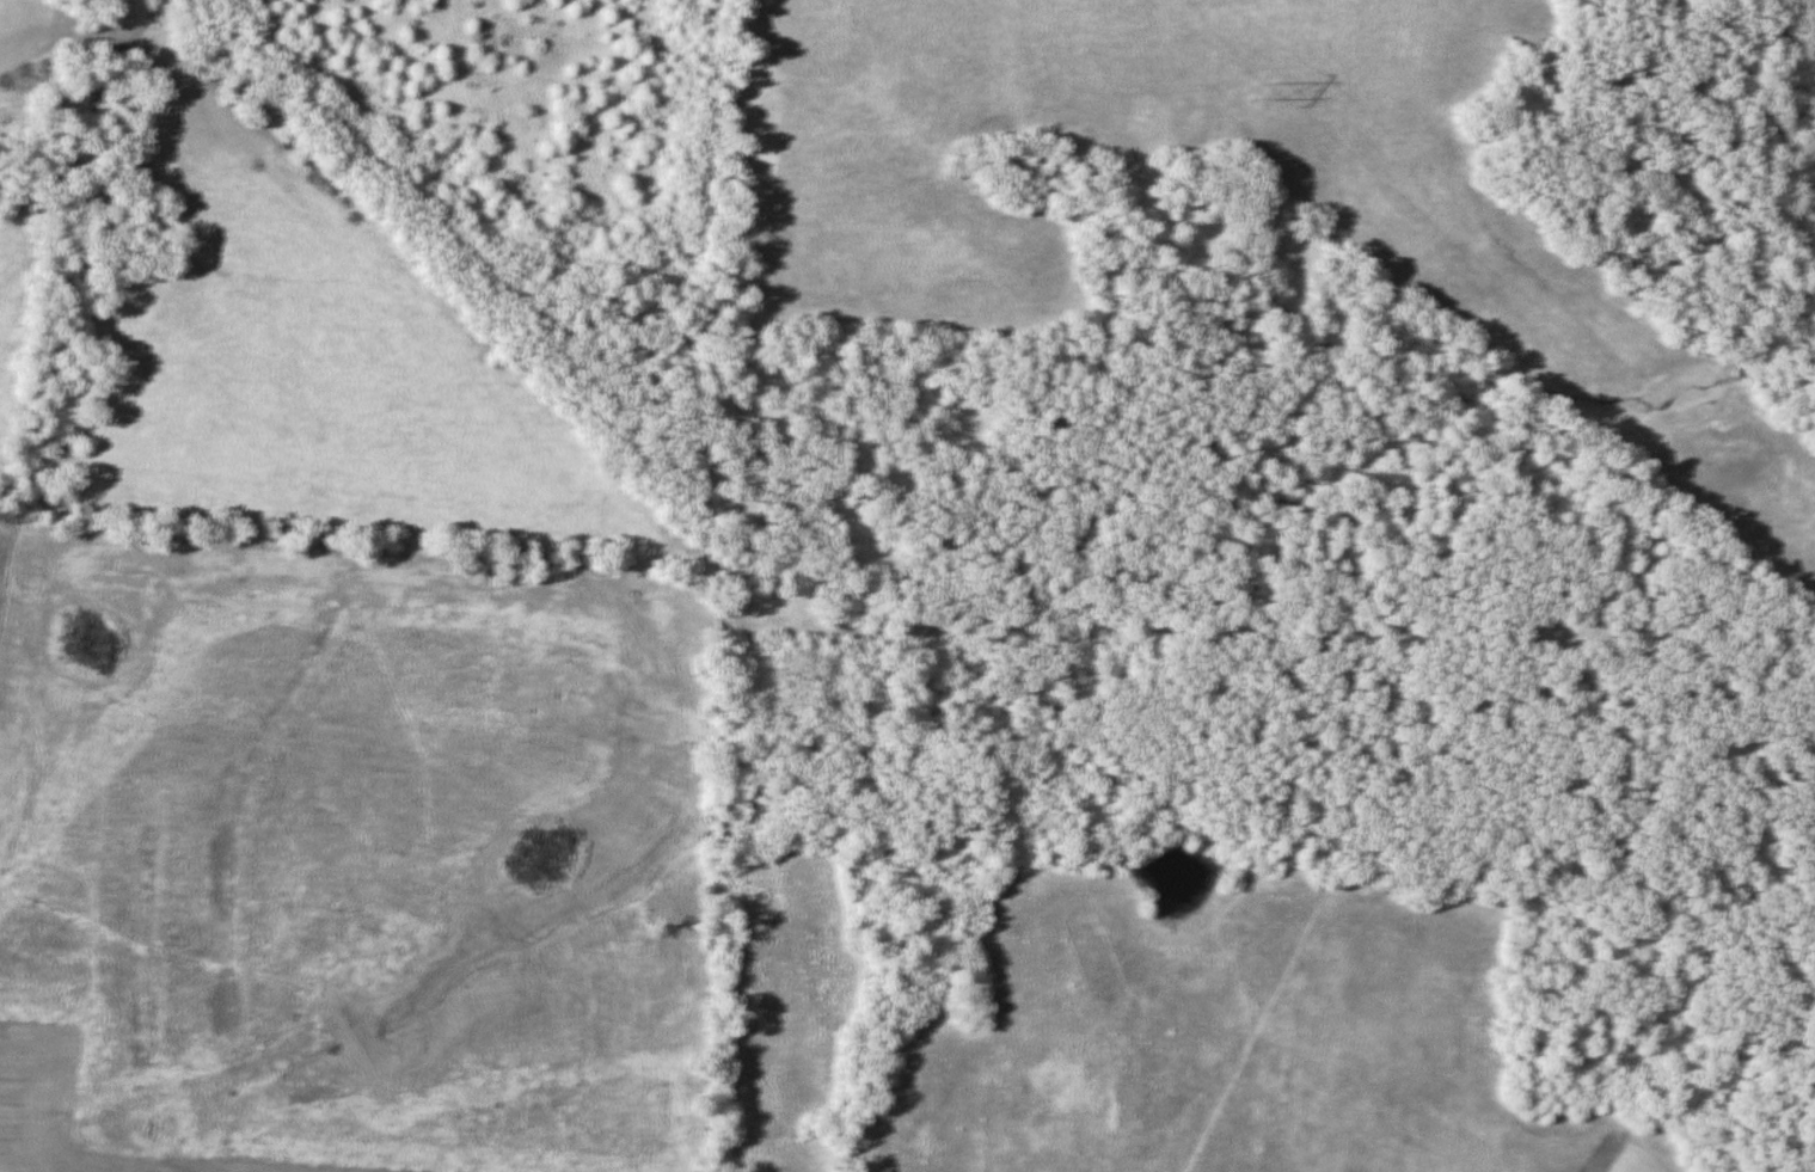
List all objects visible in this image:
power tower: (1257, 92)

